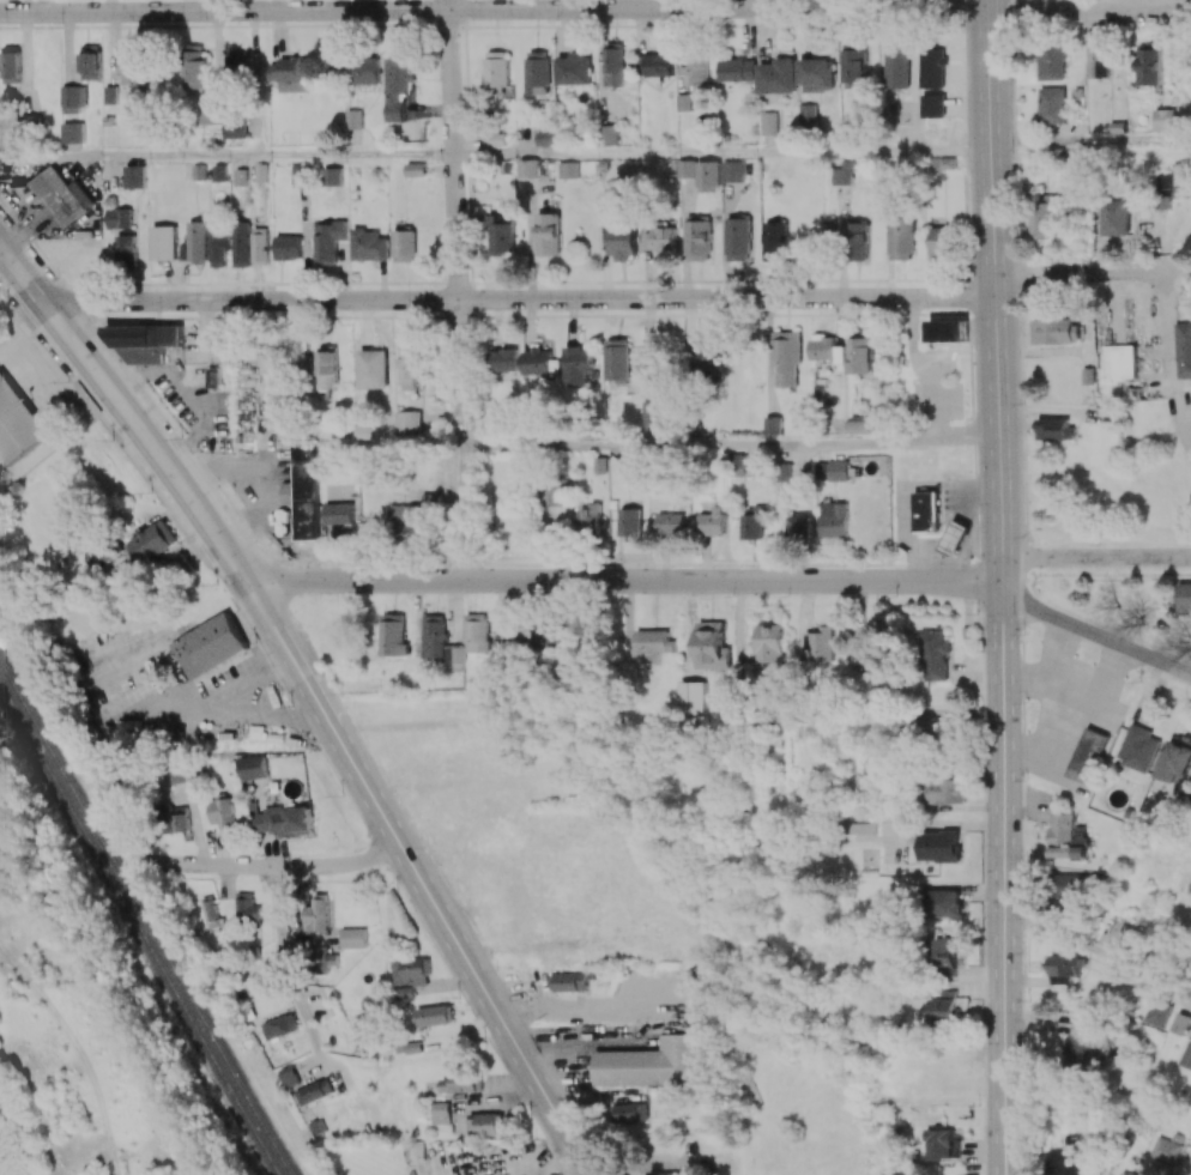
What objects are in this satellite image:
road: (1077, 5)
road: (492, 8)
building: (1052, 60)
building: (90, 61)
building: (1098, 61)
building: (613, 63)
building: (659, 63)
building: (129, 65)
building: (236, 65)
building: (854, 65)
building: (1150, 65)
building: (11, 66)
building: (896, 66)
building: (932, 67)
building: (574, 68)
building: (696, 68)
building: (194, 69)
building: (737, 69)
building: (363, 71)
building: (496, 72)
building: (538, 72)
building: (292, 73)
building: (816, 74)
building: (778, 75)
building: (399, 85)
building: (110, 93)
building: (73, 97)
building: (933, 105)
building: (1052, 105)
building: (211, 113)
building: (806, 115)
building: (353, 119)
building: (1165, 120)
building: (769, 122)
building: (234, 127)
building: (73, 132)
building: (607, 134)
building: (495, 138)
building: (545, 138)
road: (1089, 140)
road: (721, 150)
road: (226, 157)
building: (530, 168)
building: (687, 168)
building: (416, 169)
building: (569, 169)
building: (733, 170)
building: (219, 172)
building: (708, 174)
building: (844, 174)
building: (135, 175)
building: (298, 175)
building: (241, 176)
building: (332, 176)
building: (1180, 178)
building: (1160, 192)
building: (62, 195)
building: (119, 217)
building: (1112, 218)
building: (1041, 219)
building: (502, 234)
building: (548, 234)
building: (697, 238)
building: (738, 238)
building: (901, 238)
building: (198, 240)
building: (328, 240)
building: (660, 240)
building: (622, 241)
building: (775, 241)
building: (857, 241)
building: (164, 242)
building: (942, 242)
building: (241, 243)
building: (369, 244)
building: (405, 244)
building: (259, 246)
building: (288, 247)
building: (126, 249)
building: (219, 249)
road: (1092, 269)
road: (994, 286)
road: (457, 287)
road: (519, 298)
building: (947, 331)
building: (1057, 331)
building: (145, 341)
building: (822, 346)
building: (1183, 347)
building: (860, 352)
building: (706, 356)
building: (785, 357)
building: (304, 359)
building: (619, 359)
building: (1118, 361)
building: (411, 362)
building: (506, 363)
building: (540, 363)
building: (580, 365)
building: (327, 367)
road: (1168, 367)
building: (373, 368)
building: (212, 376)
road: (127, 414)
building: (653, 418)
building: (407, 422)
building: (17, 423)
building: (860, 424)
building: (772, 425)
building: (1054, 428)
road: (730, 442)
building: (737, 462)
building: (636, 470)
building: (832, 470)
building: (784, 472)
building: (304, 490)
park: (1124, 507)
building: (926, 511)
building: (339, 513)
building: (588, 515)
building: (833, 519)
building: (409, 520)
building: (711, 521)
building: (630, 523)
building: (670, 523)
building: (800, 526)
building: (153, 540)
road: (1096, 557)
road: (628, 577)
building: (1185, 598)
building: (477, 632)
building: (393, 635)
building: (552, 635)
road: (1095, 635)
building: (653, 641)
building: (441, 642)
building: (821, 642)
building: (770, 643)
building: (711, 644)
building: (872, 644)
building: (208, 646)
road: (1059, 650)
building: (935, 654)
building: (494, 670)
road: (1098, 678)
building: (691, 697)
road: (1052, 710)
road: (228, 714)
building: (924, 728)
building: (1137, 747)
building: (1087, 755)
building: (1177, 761)
building: (253, 767)
building: (177, 775)
building: (947, 791)
building: (222, 813)
building: (283, 820)
building: (182, 822)
building: (861, 828)
building: (1063, 835)
road: (1002, 841)
building: (941, 846)
road: (268, 868)
road: (419, 880)
building: (1069, 885)
building: (945, 903)
building: (247, 909)
building: (211, 913)
building: (315, 914)
railway: (145, 921)
railway: (137, 933)
building: (1130, 934)
building: (353, 938)
road: (1095, 950)
building: (944, 955)
building: (322, 959)
road: (296, 963)
building: (1064, 968)
building: (411, 971)
building: (573, 981)
building: (944, 1007)
building: (1157, 1012)
building: (434, 1015)
building: (1180, 1023)
building: (279, 1026)
building: (1083, 1037)
building: (648, 1064)
building: (289, 1076)
building: (463, 1082)
building: (314, 1091)
building: (441, 1112)
building: (631, 1112)
building: (485, 1122)
building: (942, 1143)
road: (1000, 1143)
road: (1006, 1143)
building: (1163, 1150)
building: (1069, 1157)
building: (1124, 1173)

